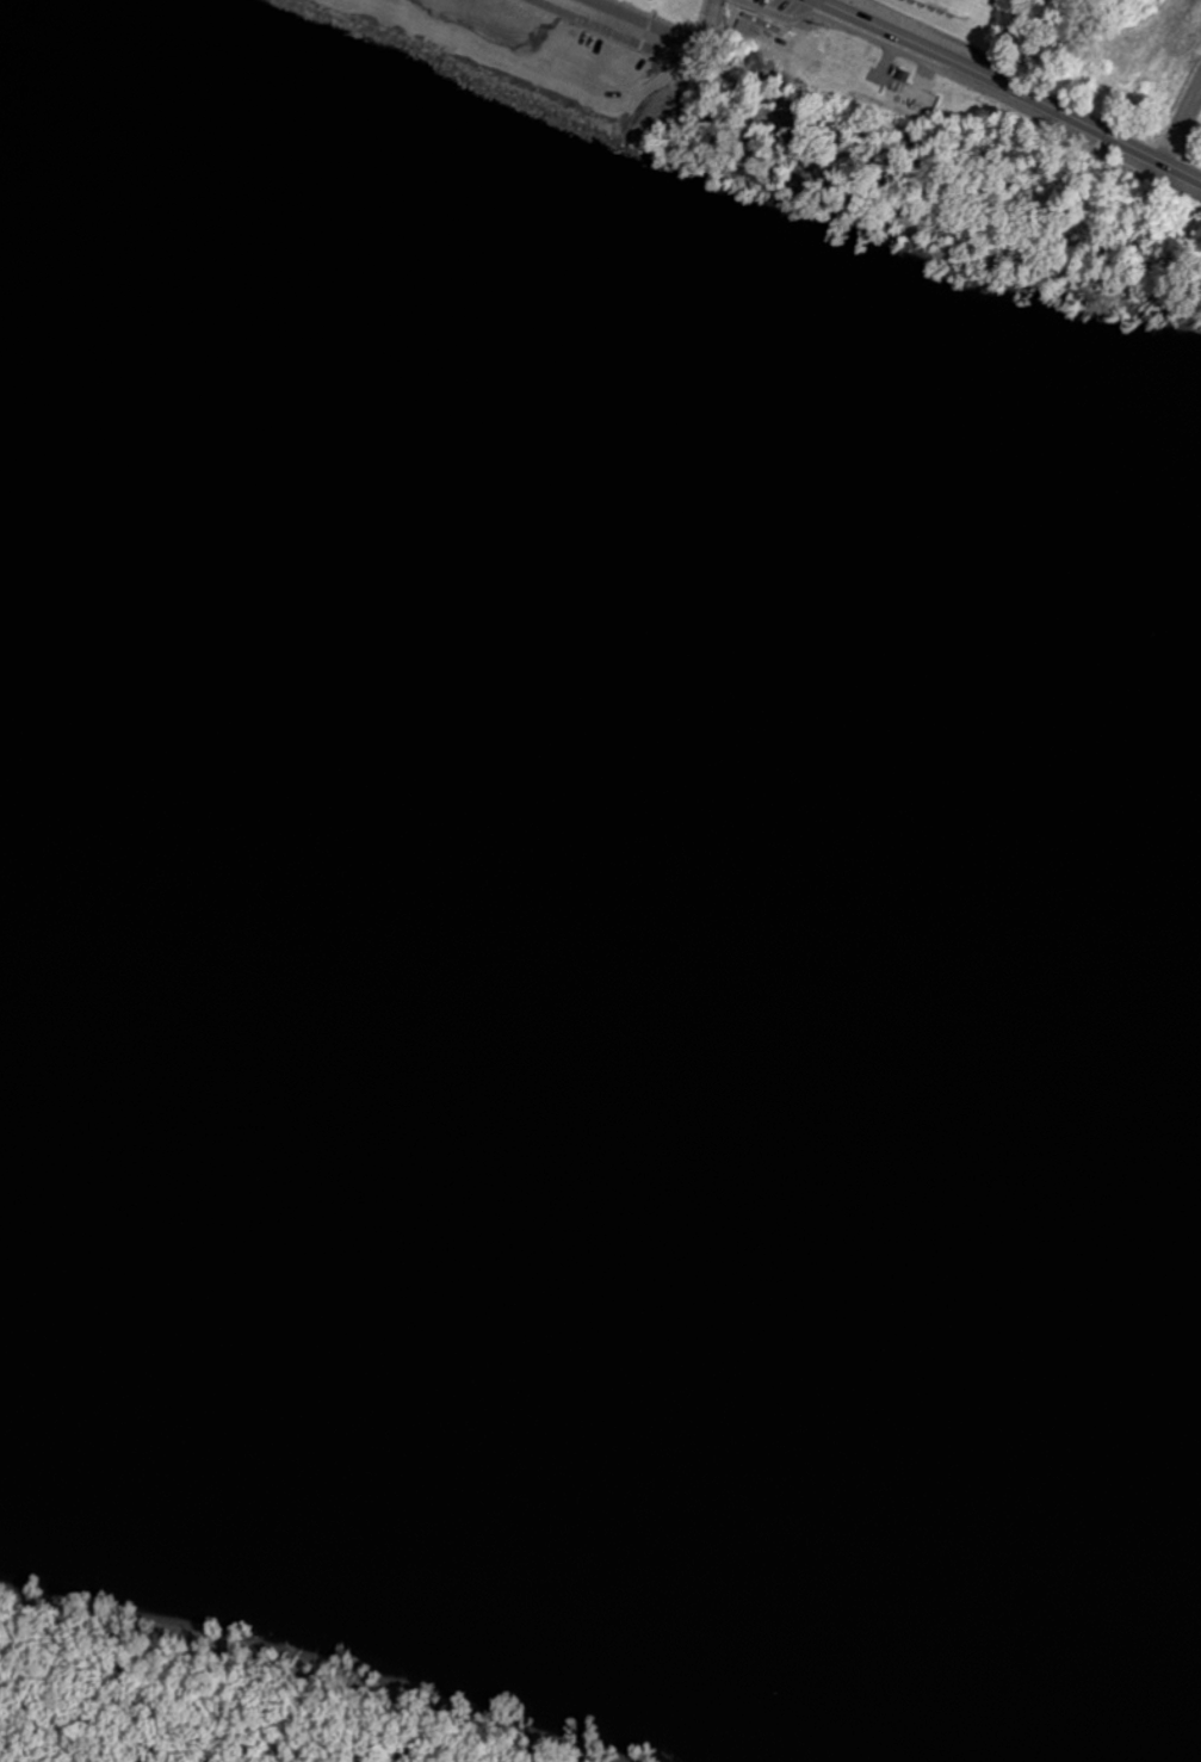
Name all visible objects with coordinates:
park: (704, 57)
road: (971, 84)
road: (1010, 88)
road: (1182, 122)
river: (286, 629)
river: (886, 754)
river: (886, 845)

